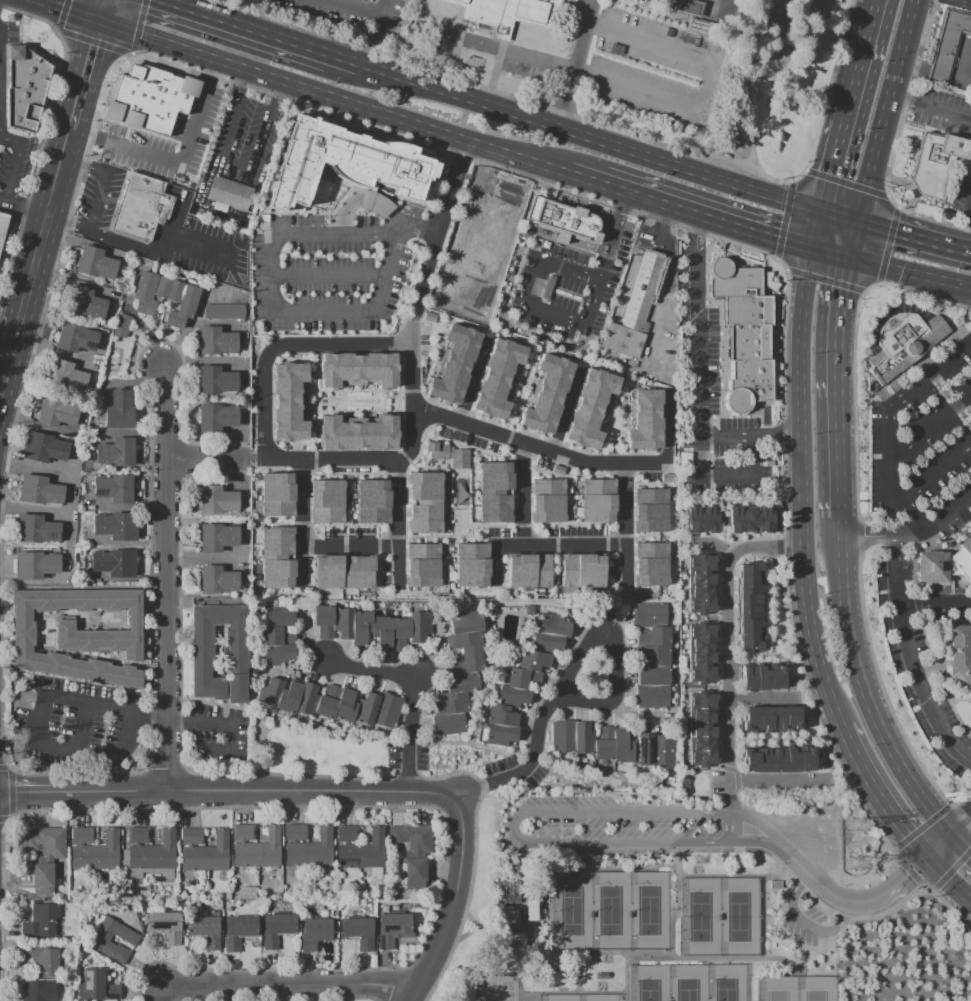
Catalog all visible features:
building: (969, 0)
road: (962, 2)
road: (356, 7)
building: (688, 7)
road: (185, 9)
building: (507, 11)
road: (65, 12)
road: (104, 12)
parking lot: (356, 15)
traffic signals: (101, 25)
road: (378, 34)
road: (143, 38)
building: (948, 46)
road: (499, 47)
road: (865, 63)
road: (574, 64)
road: (181, 67)
parking lot: (661, 70)
road: (84, 77)
road: (153, 78)
road: (242, 84)
road: (709, 84)
building: (30, 88)
road: (751, 89)
road: (278, 93)
road: (904, 100)
building: (173, 109)
road: (888, 111)
road: (943, 111)
road: (375, 113)
road: (518, 116)
road: (208, 123)
road: (43, 136)
road: (157, 138)
road: (19, 160)
building: (345, 162)
building: (937, 163)
building: (147, 166)
road: (237, 168)
road: (834, 169)
road: (488, 173)
road: (584, 174)
building: (228, 193)
road: (366, 199)
road: (99, 201)
building: (373, 201)
road: (625, 202)
building: (141, 207)
road: (24, 210)
traffic signals: (823, 213)
road: (708, 214)
building: (563, 218)
road: (841, 218)
road: (416, 221)
road: (474, 221)
traffic signals: (860, 223)
building: (2, 225)
road: (495, 227)
road: (45, 230)
road: (819, 230)
road: (373, 231)
road: (915, 236)
road: (968, 239)
road: (854, 241)
road: (588, 245)
traffic signals: (815, 248)
road: (161, 250)
road: (831, 253)
traffic signals: (848, 259)
building: (95, 263)
road: (909, 273)
road: (667, 274)
road: (327, 275)
road: (603, 276)
building: (474, 279)
parking lot: (571, 284)
road: (535, 285)
building: (164, 297)
road: (416, 301)
building: (84, 303)
building: (484, 304)
road: (502, 306)
road: (282, 309)
building: (224, 311)
building: (630, 320)
building: (121, 325)
road: (9, 327)
building: (745, 334)
building: (75, 337)
building: (901, 340)
building: (215, 341)
road: (340, 344)
road: (48, 349)
road: (9, 363)
building: (455, 364)
building: (357, 369)
building: (66, 377)
building: (496, 377)
road: (472, 378)
building: (216, 380)
road: (832, 387)
road: (697, 390)
building: (546, 394)
road: (267, 400)
building: (287, 401)
building: (591, 409)
road: (566, 410)
building: (119, 411)
building: (56, 412)
building: (216, 418)
building: (644, 420)
parking lot: (968, 420)
road: (885, 421)
road: (929, 427)
building: (357, 433)
road: (751, 436)
road: (537, 447)
building: (43, 448)
building: (115, 453)
building: (447, 453)
road: (324, 456)
road: (209, 457)
parking lot: (920, 457)
road: (936, 471)
building: (113, 488)
road: (804, 488)
building: (494, 489)
building: (39, 490)
road: (68, 492)
building: (276, 494)
building: (216, 500)
building: (546, 500)
building: (596, 500)
building: (325, 501)
building: (372, 501)
building: (428, 506)
building: (648, 509)
road: (723, 517)
building: (710, 519)
building: (694, 520)
building: (735, 520)
building: (751, 520)
building: (765, 521)
road: (302, 522)
road: (398, 522)
building: (116, 526)
road: (625, 526)
road: (836, 527)
building: (35, 529)
road: (909, 531)
building: (217, 537)
road: (521, 544)
road: (350, 545)
road: (715, 546)
road: (199, 556)
building: (276, 557)
building: (963, 558)
building: (115, 562)
building: (649, 563)
building: (700, 563)
building: (428, 564)
building: (35, 565)
building: (471, 565)
building: (932, 567)
building: (527, 570)
building: (343, 571)
building: (581, 571)
building: (750, 572)
road: (167, 577)
building: (699, 578)
building: (217, 580)
building: (748, 586)
building: (699, 592)
building: (749, 599)
road: (935, 604)
building: (701, 606)
building: (749, 613)
building: (748, 626)
building: (372, 627)
road: (774, 628)
building: (700, 633)
building: (78, 635)
building: (277, 635)
building: (748, 641)
building: (700, 647)
building: (202, 648)
road: (729, 650)
building: (959, 653)
building: (651, 654)
road: (913, 654)
road: (751, 655)
building: (700, 660)
building: (460, 673)
road: (570, 674)
building: (700, 676)
building: (524, 679)
building: (748, 679)
building: (761, 679)
building: (776, 679)
road: (410, 695)
road: (765, 697)
road: (868, 698)
power tower: (26, 700)
road: (39, 700)
building: (329, 703)
building: (700, 703)
building: (700, 717)
building: (792, 720)
building: (749, 721)
building: (764, 721)
building: (778, 721)
building: (700, 731)
power tower: (18, 736)
building: (590, 740)
road: (774, 740)
building: (700, 745)
building: (643, 750)
building: (663, 751)
building: (701, 760)
building: (765, 761)
building: (778, 761)
building: (791, 761)
building: (807, 761)
building: (749, 762)
road: (768, 784)
road: (228, 792)
road: (878, 798)
road: (496, 802)
parking lot: (621, 822)
power tower: (859, 826)
road: (764, 827)
road: (729, 831)
road: (963, 831)
building: (236, 834)
building: (247, 834)
building: (289, 834)
building: (299, 834)
building: (75, 835)
building: (85, 835)
building: (340, 836)
building: (350, 836)
building: (131, 837)
building: (142, 837)
building: (184, 838)
building: (195, 838)
traffic signals: (956, 838)
road: (525, 844)
road: (963, 846)
building: (413, 849)
building: (311, 851)
building: (258, 852)
building: (97, 853)
building: (361, 853)
road: (601, 853)
building: (153, 854)
building: (206, 855)
building: (44, 856)
traffic signals: (929, 862)
power tower: (855, 864)
road: (524, 867)
road: (917, 870)
road: (515, 871)
road: (764, 878)
road: (949, 881)
road: (823, 889)
building: (506, 892)
road: (450, 902)
road: (676, 904)
park: (643, 906)
park: (572, 910)
park: (611, 910)
park: (649, 910)
building: (532, 911)
building: (511, 915)
park: (700, 915)
park: (738, 915)
parking lot: (811, 918)
building: (41, 921)
building: (167, 927)
road: (806, 927)
building: (276, 929)
building: (391, 929)
road: (526, 929)
building: (203, 930)
building: (238, 931)
building: (357, 931)
building: (314, 932)
building: (128, 938)
building: (509, 942)
road: (454, 943)
road: (649, 955)
building: (41, 959)
road: (496, 972)
road: (626, 974)
park: (726, 982)
park: (650, 983)
park: (688, 983)
building: (96, 985)
road: (283, 985)
park: (778, 988)
park: (499, 989)
park: (814, 989)
building: (38, 990)
road: (154, 993)
road: (574, 993)
park: (561, 999)
park: (597, 999)

